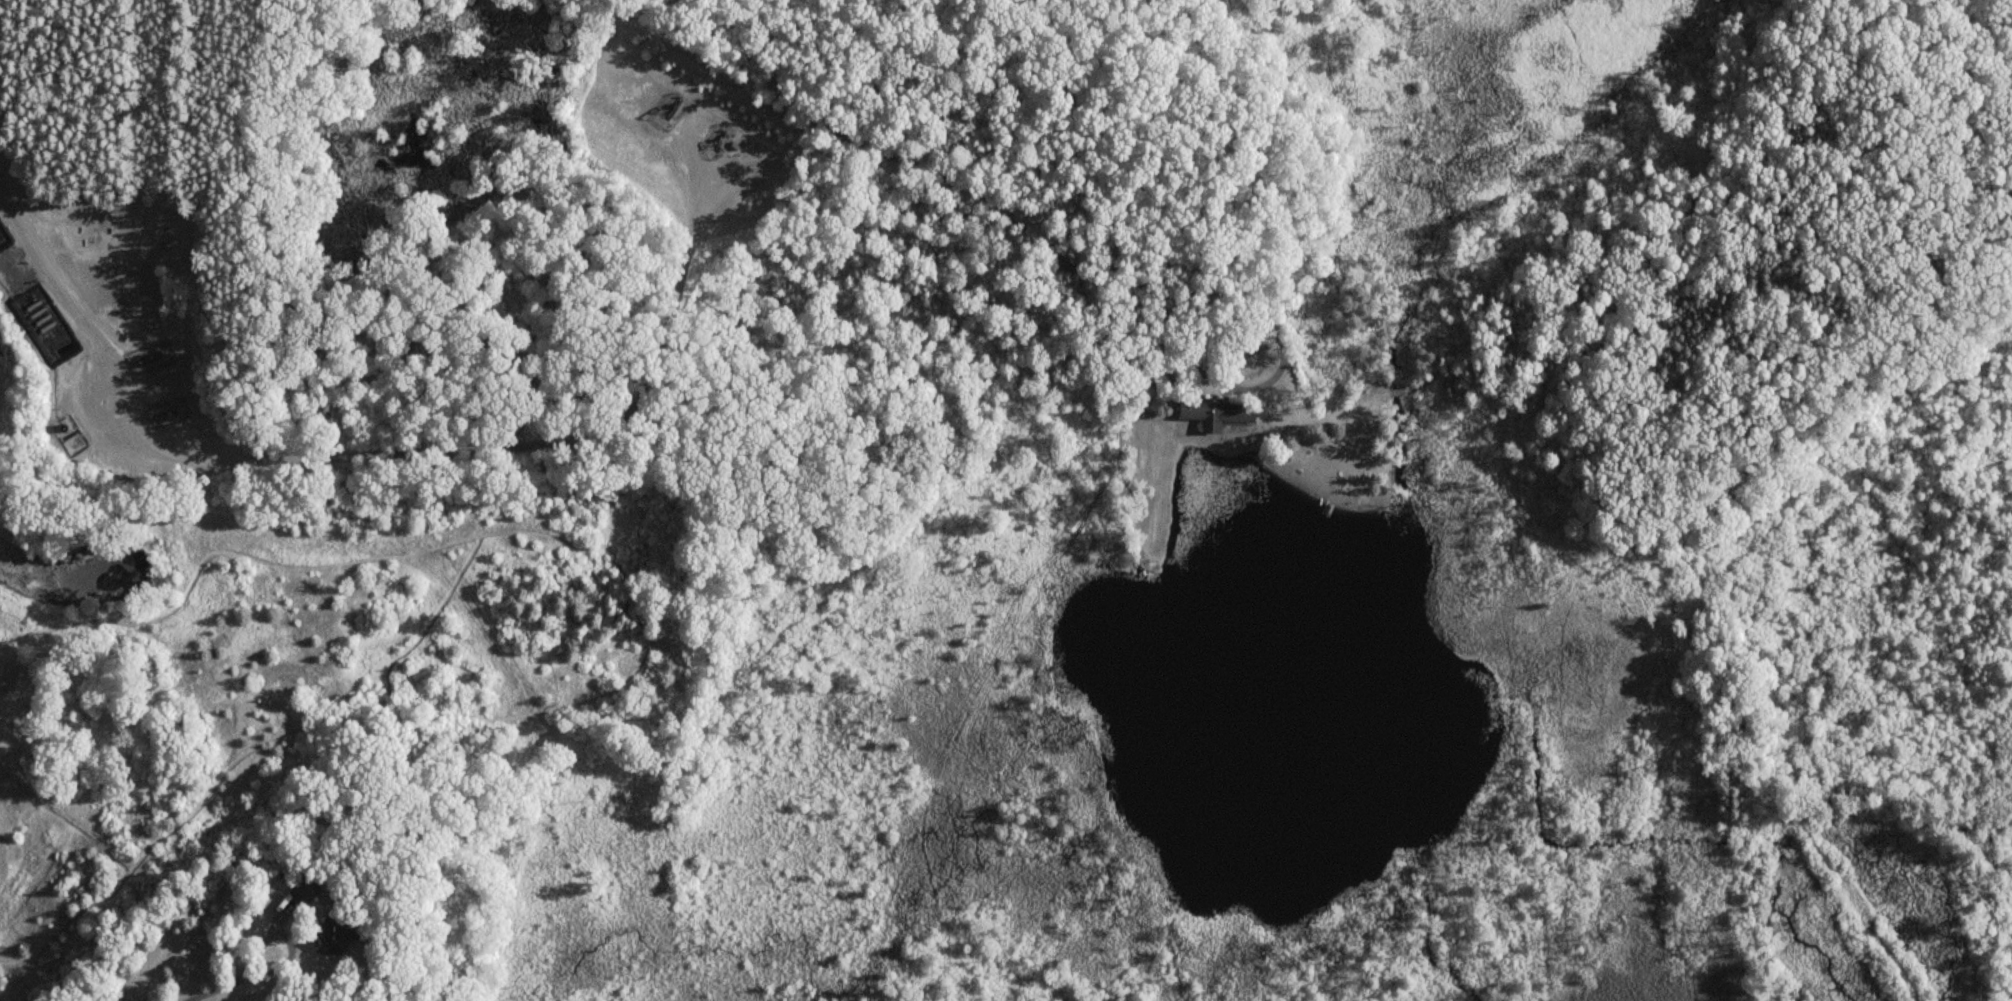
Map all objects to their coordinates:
road: (942, 188)
building: (1222, 413)
road: (351, 443)
building: (309, 885)
building: (337, 934)

